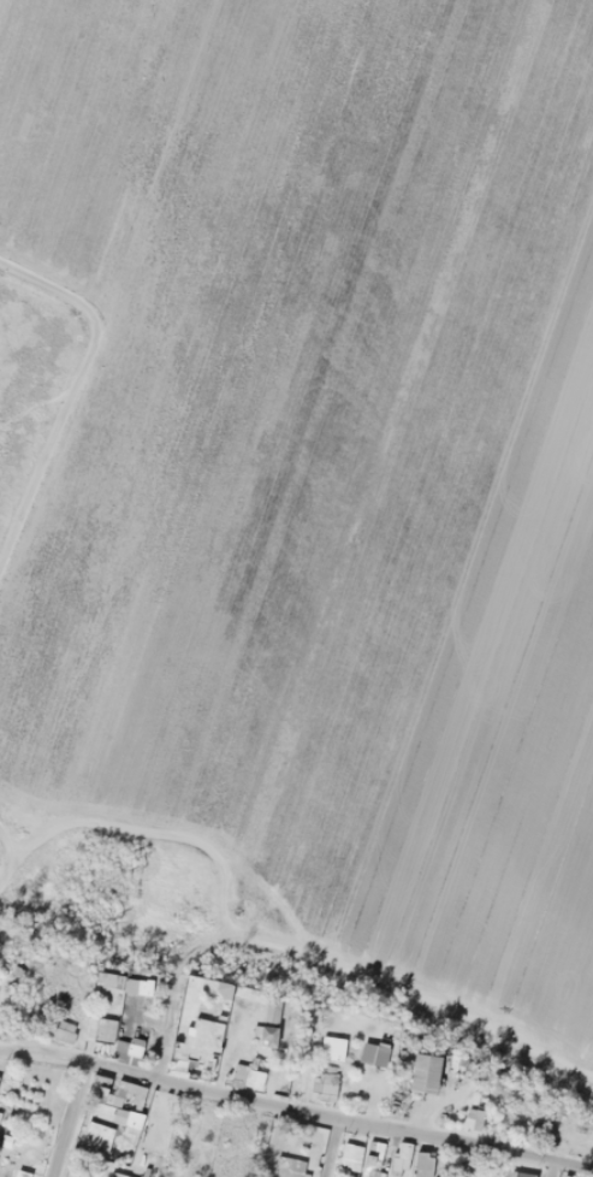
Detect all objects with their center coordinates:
road: (69, 388)
road: (5, 846)
road: (6, 870)
road: (164, 1024)
road: (296, 1110)
road: (70, 1120)
road: (331, 1148)
road: (551, 1169)

